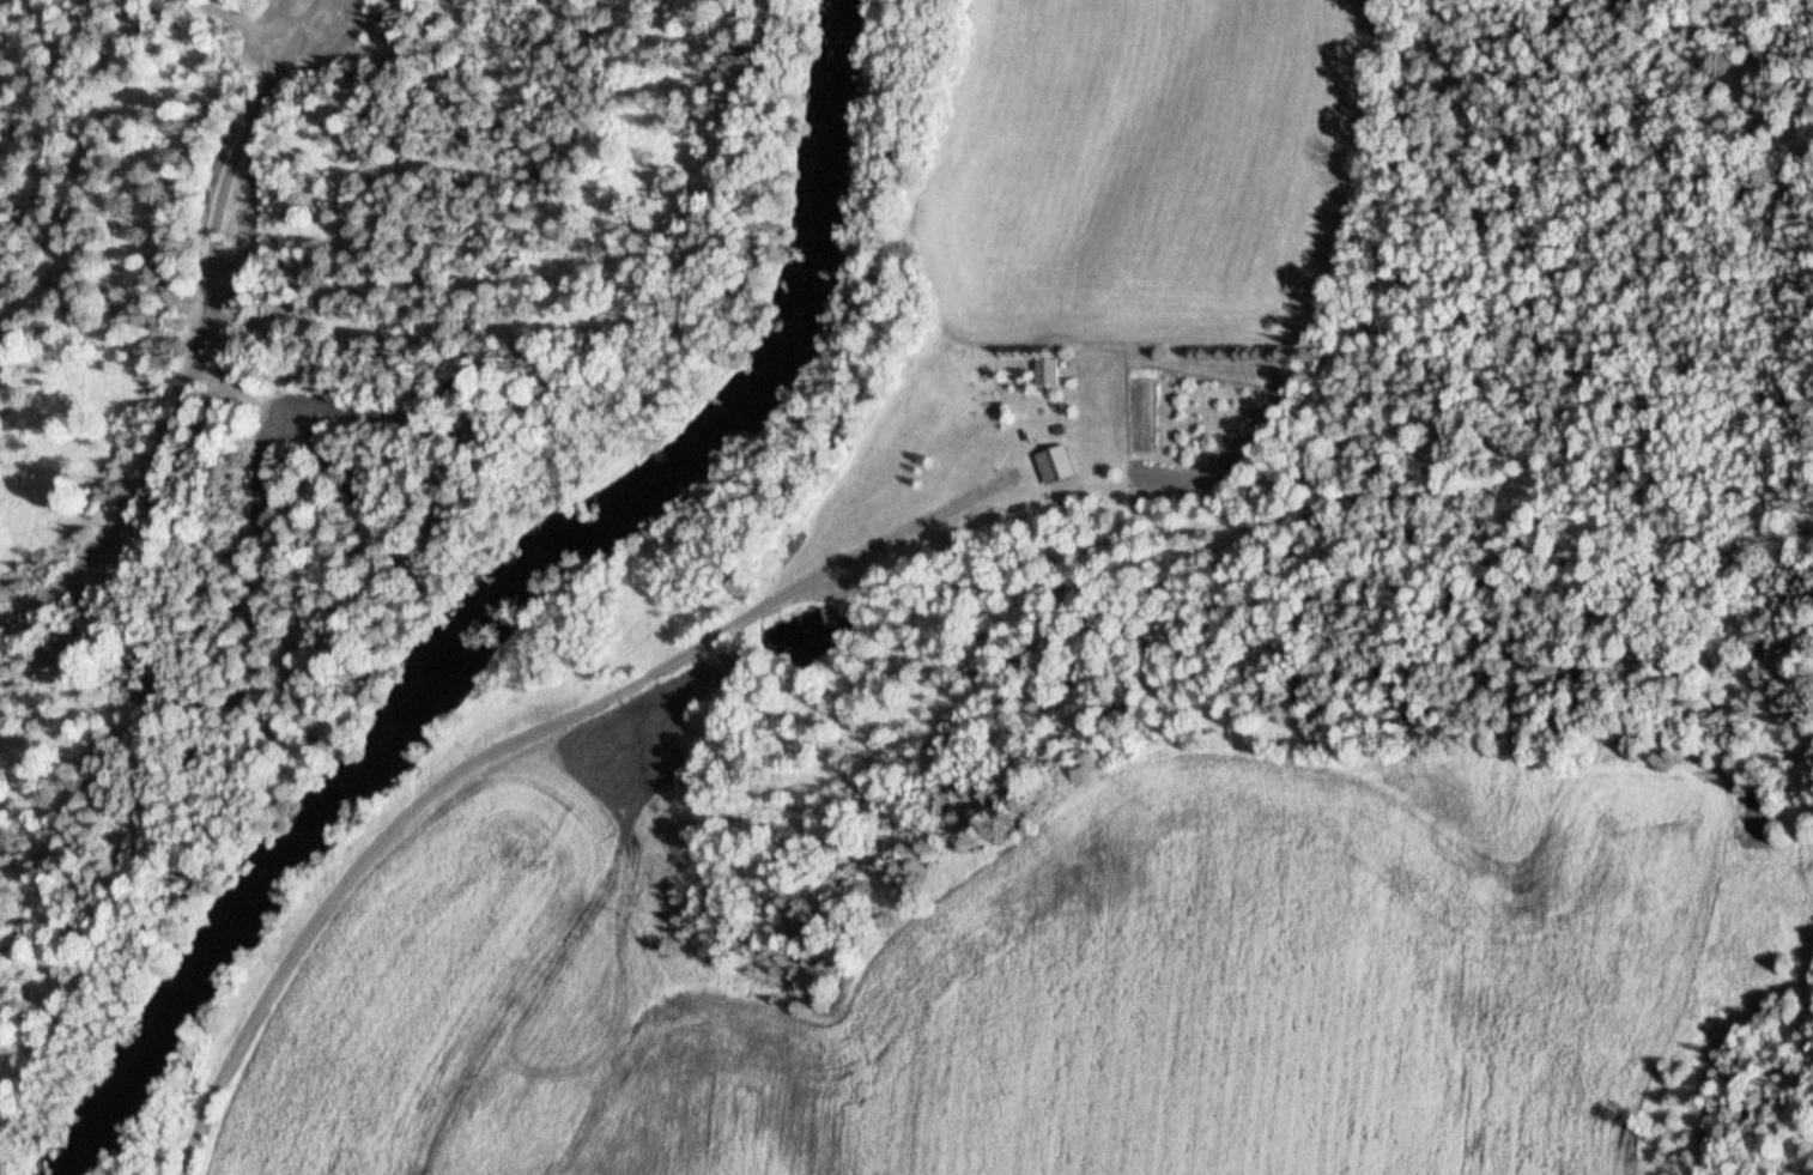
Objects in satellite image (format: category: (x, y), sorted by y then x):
road: (236, 28)
road: (206, 345)
building: (1048, 373)
building: (1056, 466)
river: (529, 602)
road: (515, 740)

